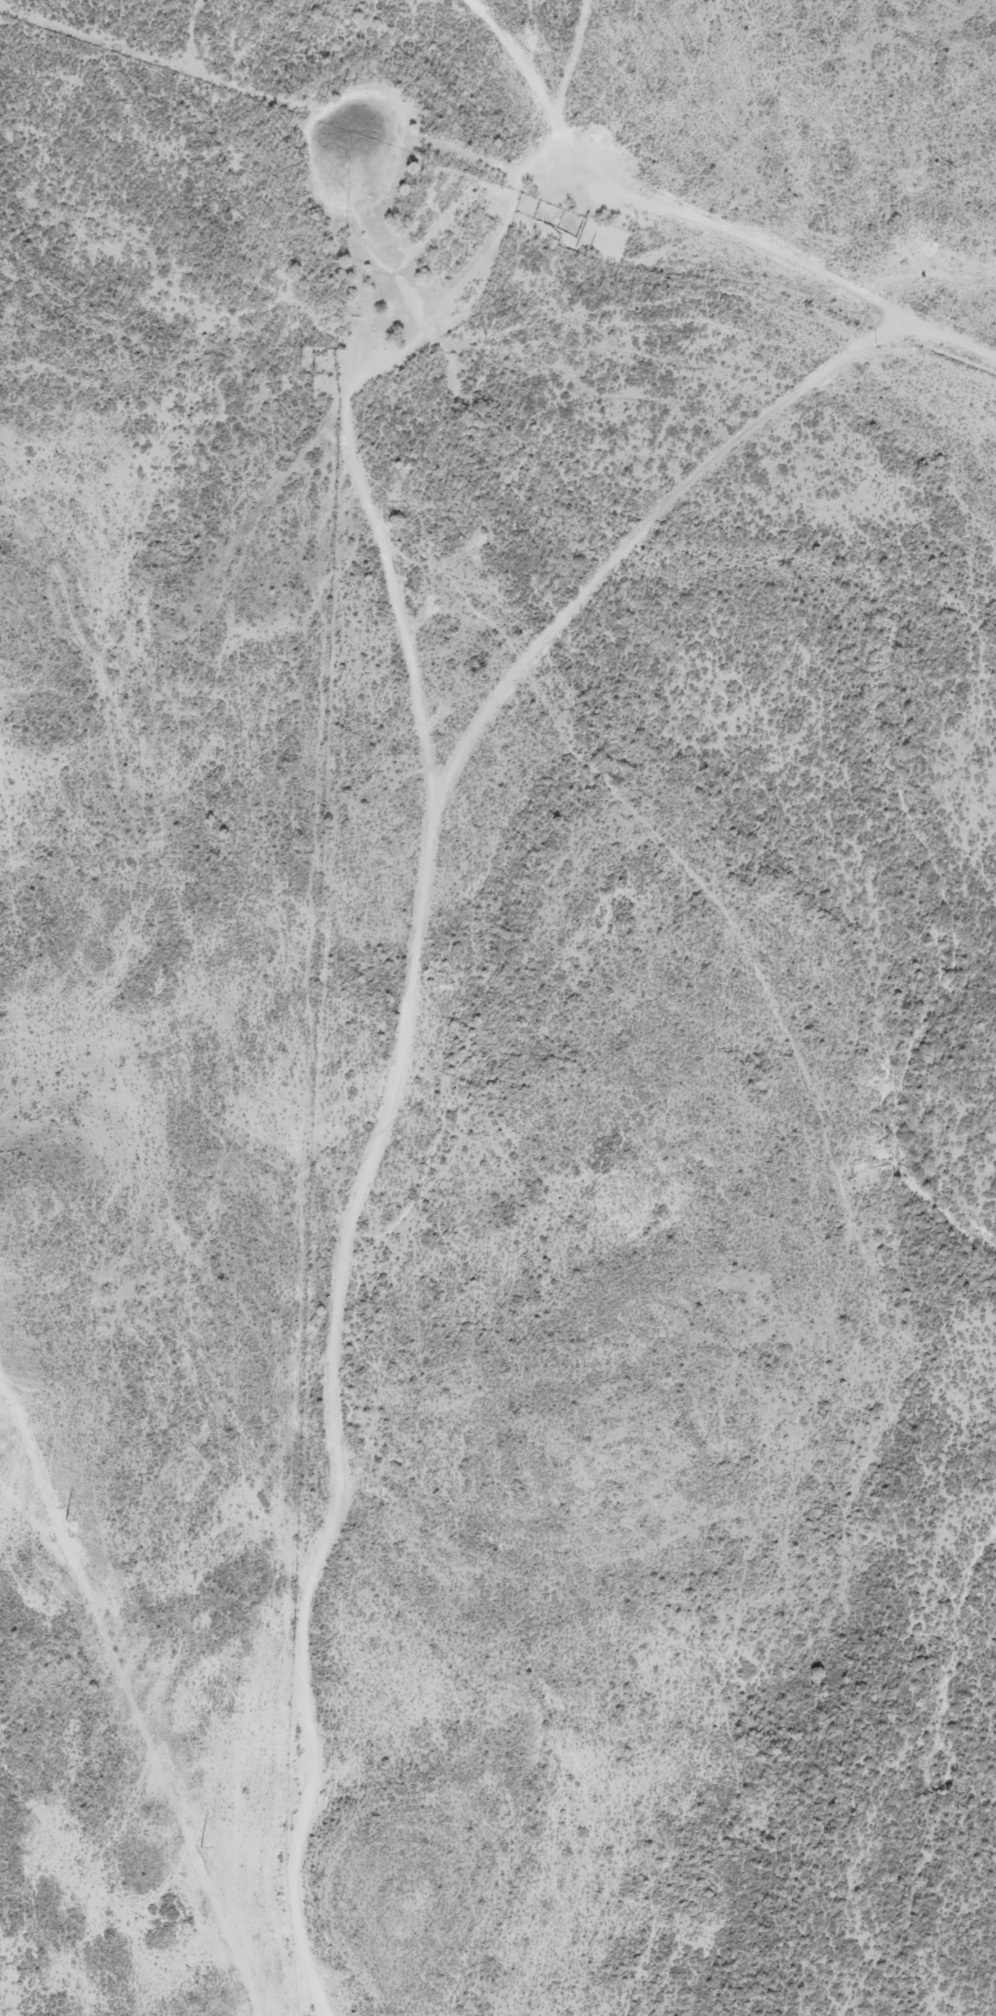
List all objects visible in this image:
road: (704, 219)
road: (413, 1035)
power tower: (65, 1519)
power tower: (202, 1847)

